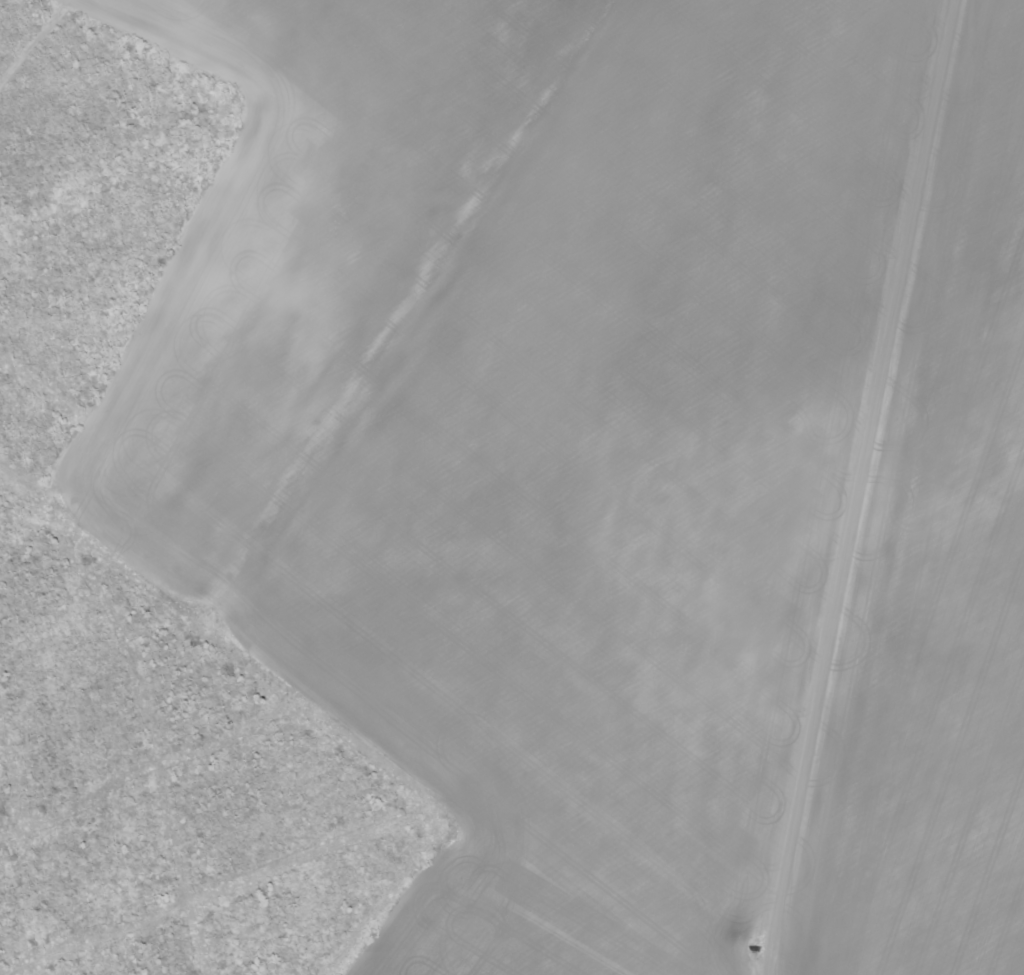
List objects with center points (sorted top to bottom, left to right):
road: (852, 487)

